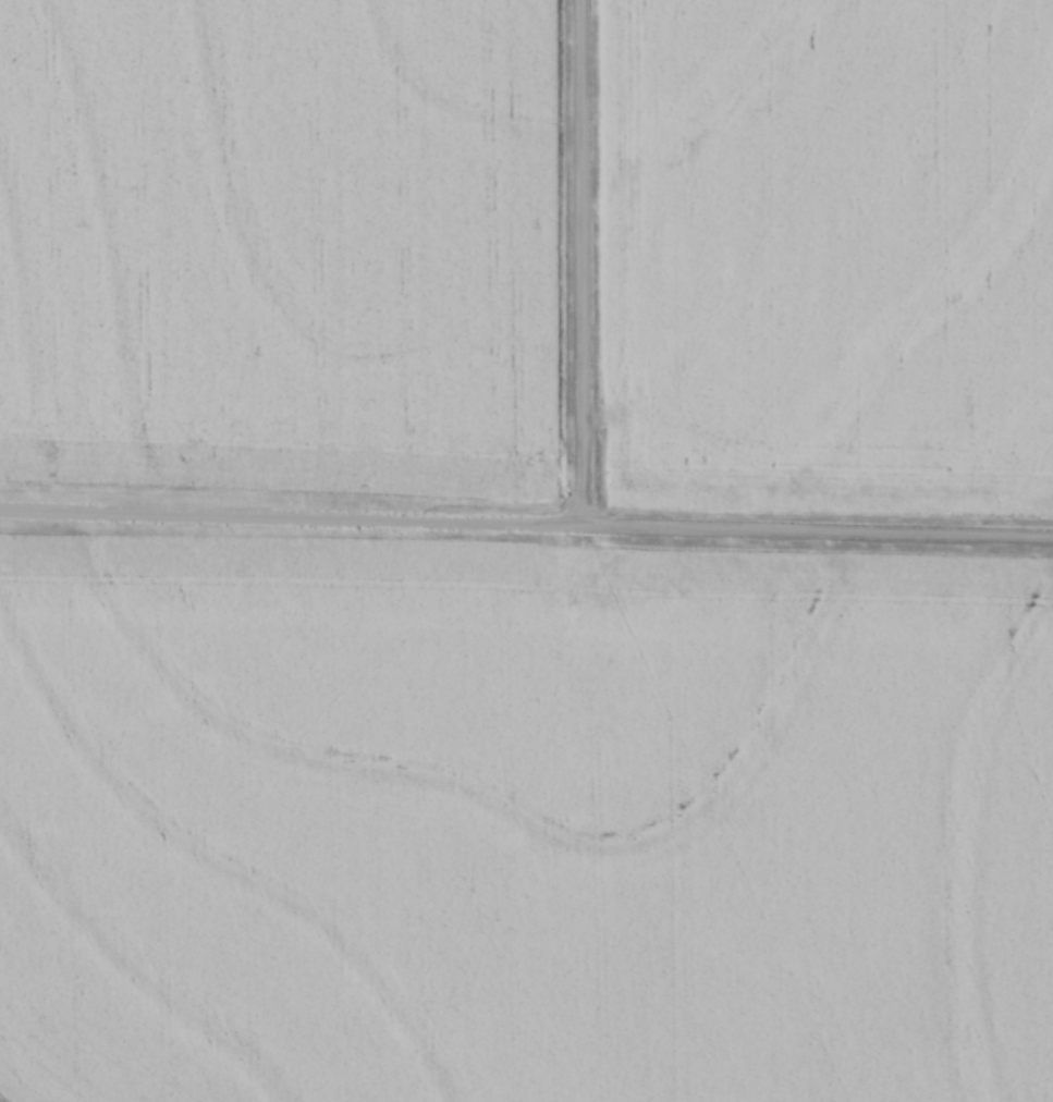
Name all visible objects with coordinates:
road: (585, 261)
road: (526, 524)

